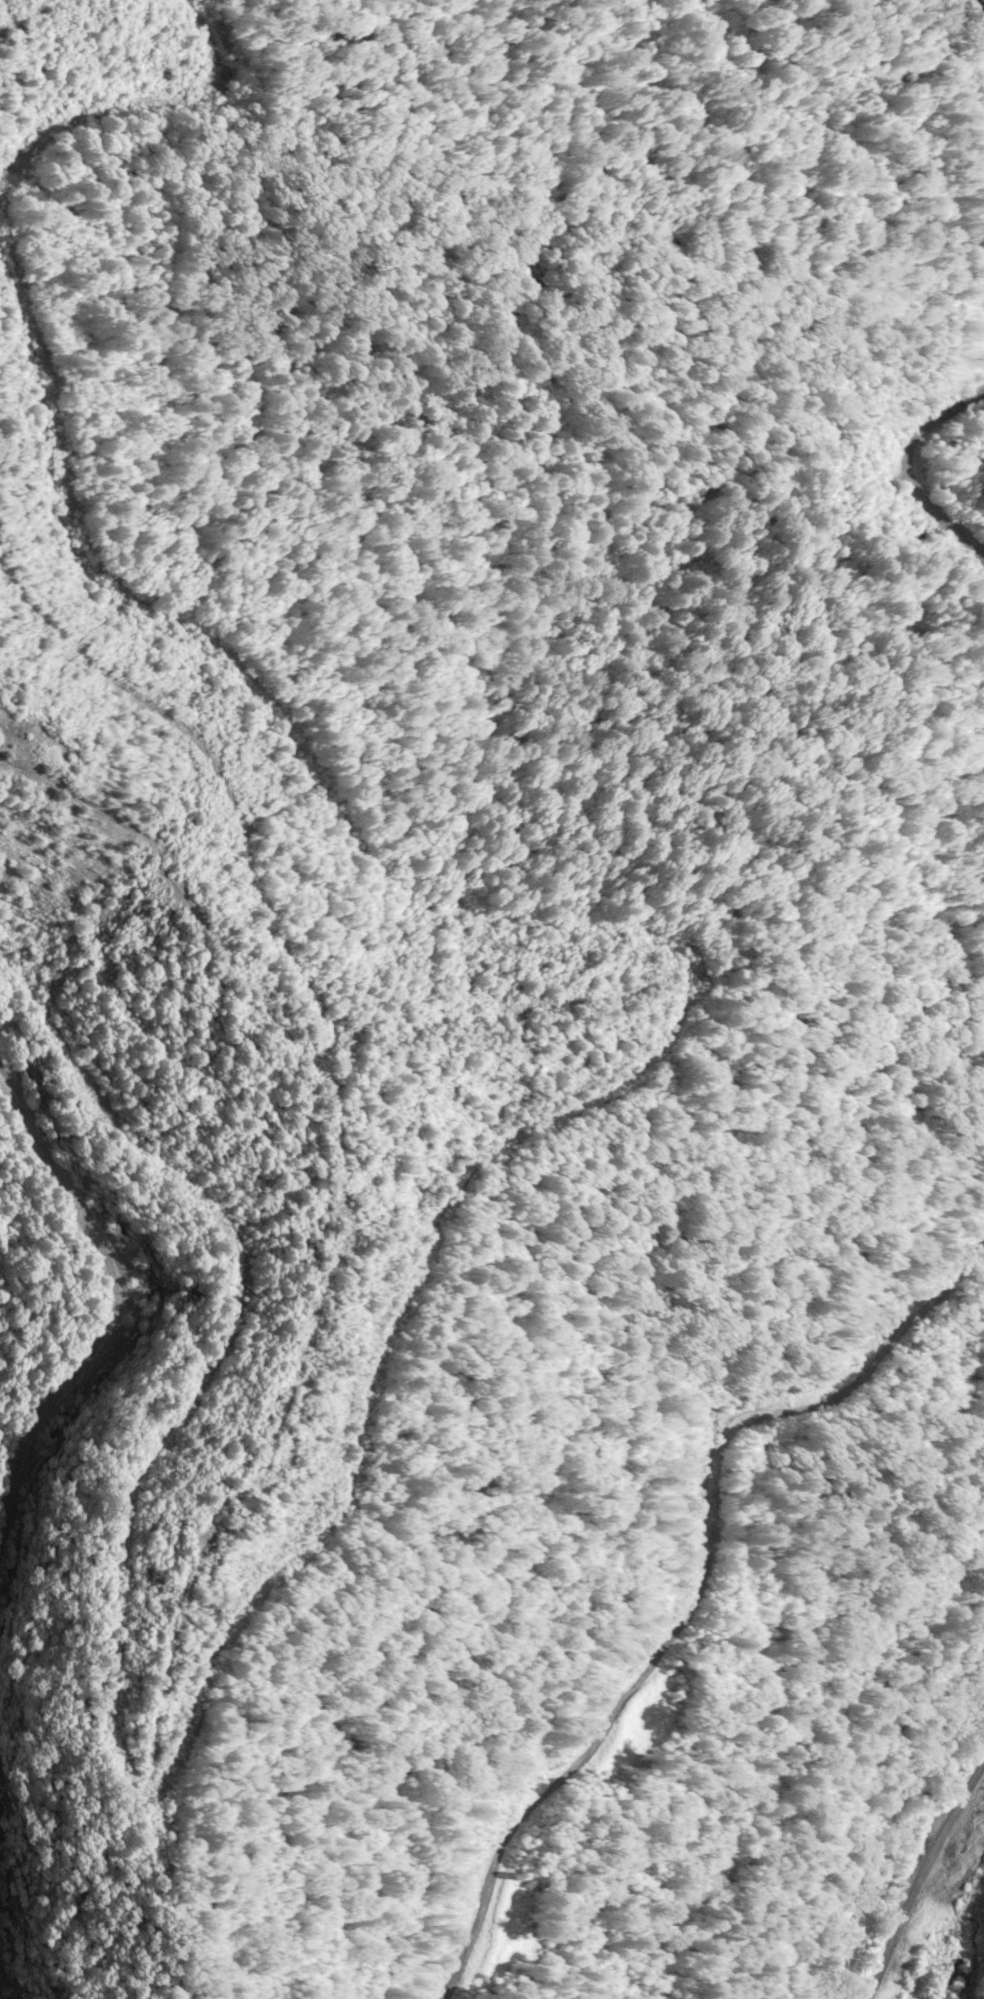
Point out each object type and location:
road: (899, 106)
road: (918, 1878)

